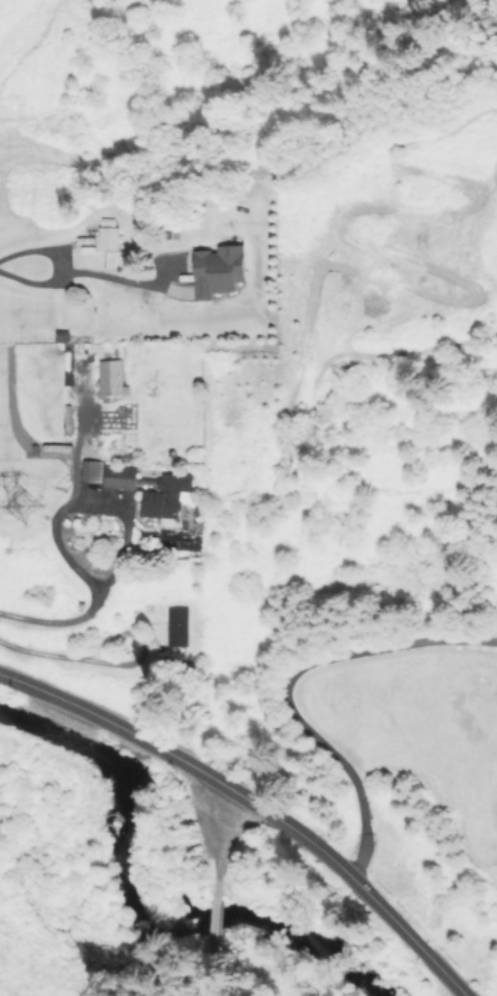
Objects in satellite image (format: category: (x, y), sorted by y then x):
building: (107, 233)
building: (218, 269)
road: (86, 274)
building: (110, 377)
building: (90, 470)
building: (119, 476)
road: (92, 487)
building: (164, 495)
road: (58, 621)
building: (177, 626)
road: (139, 641)
road: (43, 653)
road: (286, 686)
road: (256, 803)
road: (216, 892)

